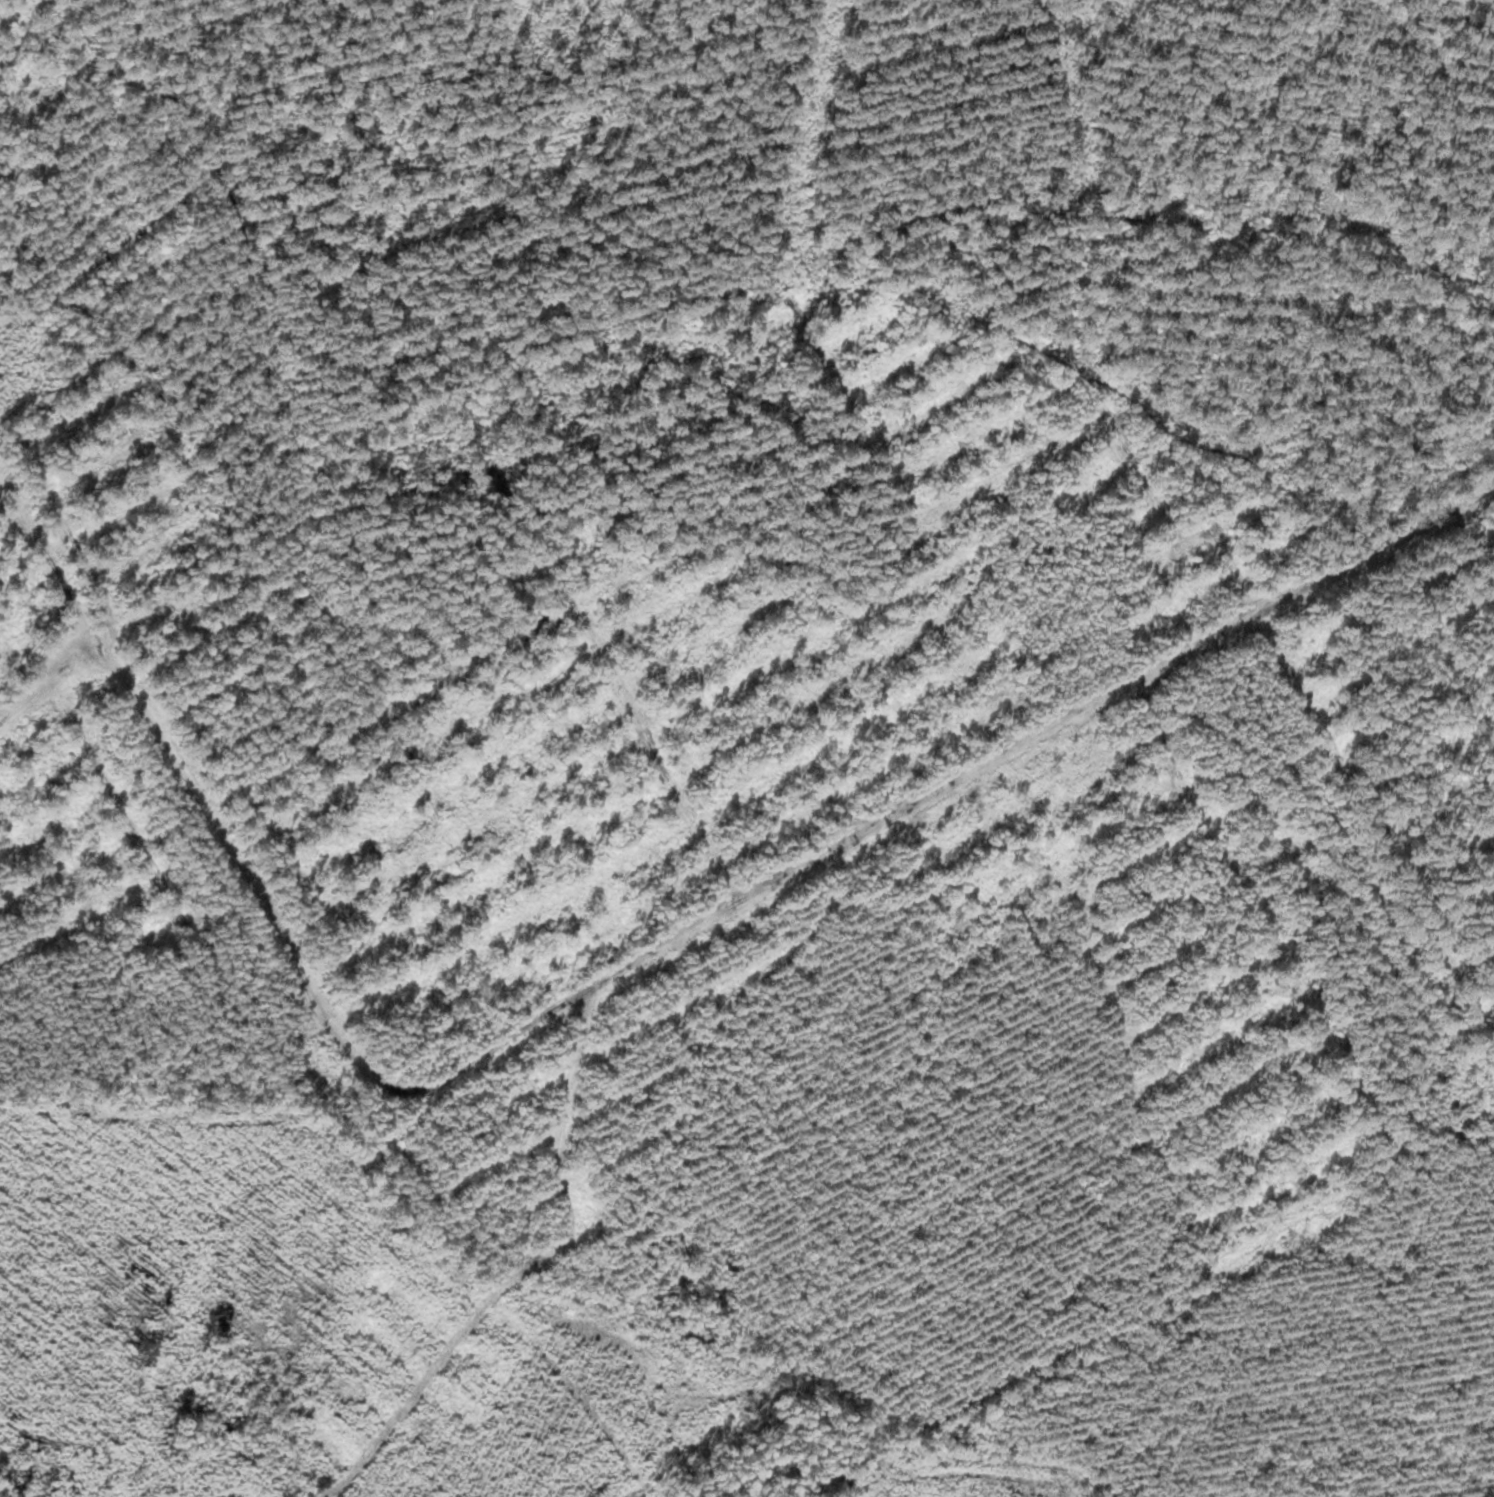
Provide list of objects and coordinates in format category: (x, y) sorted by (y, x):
road: (45, 564)

